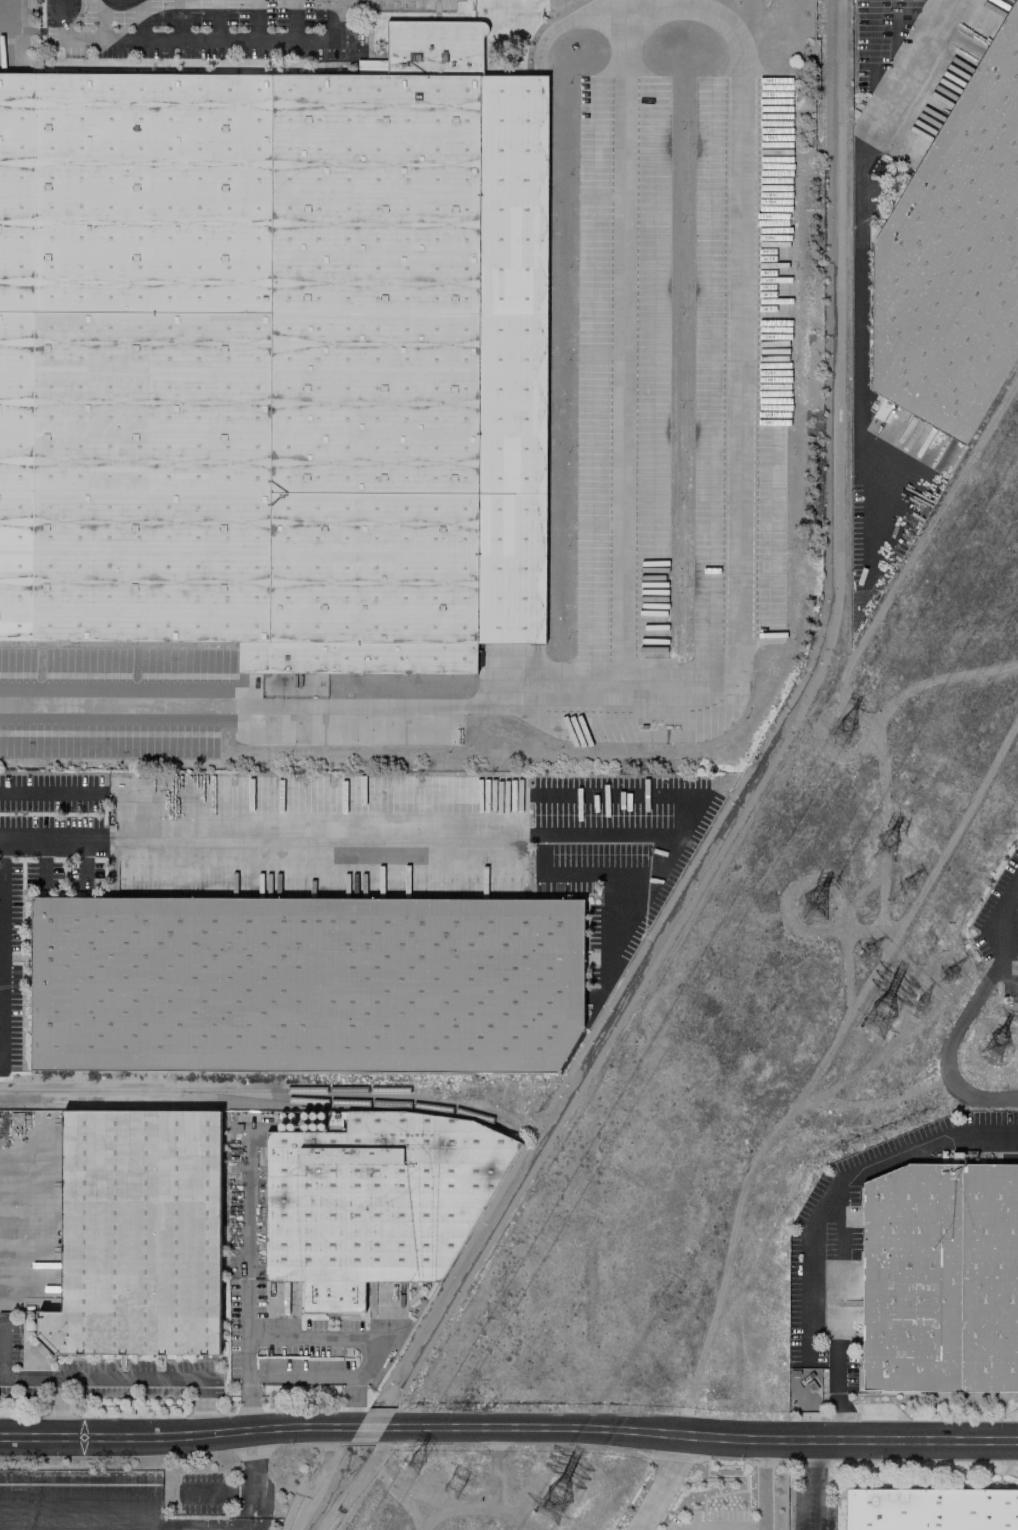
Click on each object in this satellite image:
road: (61, 10)
road: (100, 21)
road: (139, 21)
road: (178, 21)
road: (217, 21)
road: (254, 21)
road: (290, 21)
road: (209, 42)
road: (911, 72)
road: (859, 253)
building: (954, 257)
road: (619, 296)
building: (277, 358)
building: (883, 406)
road: (691, 677)
power tower: (847, 728)
road: (32, 790)
road: (65, 835)
road: (339, 835)
power tower: (894, 850)
power tower: (902, 908)
power tower: (815, 910)
power tower: (874, 956)
road: (6, 966)
power tower: (958, 974)
building: (306, 981)
power tower: (925, 1009)
road: (966, 1011)
power tower: (892, 1019)
power tower: (993, 1045)
railway: (307, 1090)
railway: (254, 1096)
building: (375, 1201)
road: (838, 1216)
building: (138, 1233)
building: (940, 1278)
road: (305, 1332)
road: (305, 1372)
road: (3, 1377)
road: (124, 1378)
road: (373, 1426)
road: (178, 1436)
road: (703, 1437)
road: (252, 1460)
power tower: (441, 1473)
road: (652, 1482)
road: (765, 1485)
road: (812, 1485)
power tower: (477, 1487)
road: (215, 1489)
power tower: (563, 1500)
building: (931, 1509)
road: (252, 1510)
road: (720, 1525)
road: (49, 1527)

